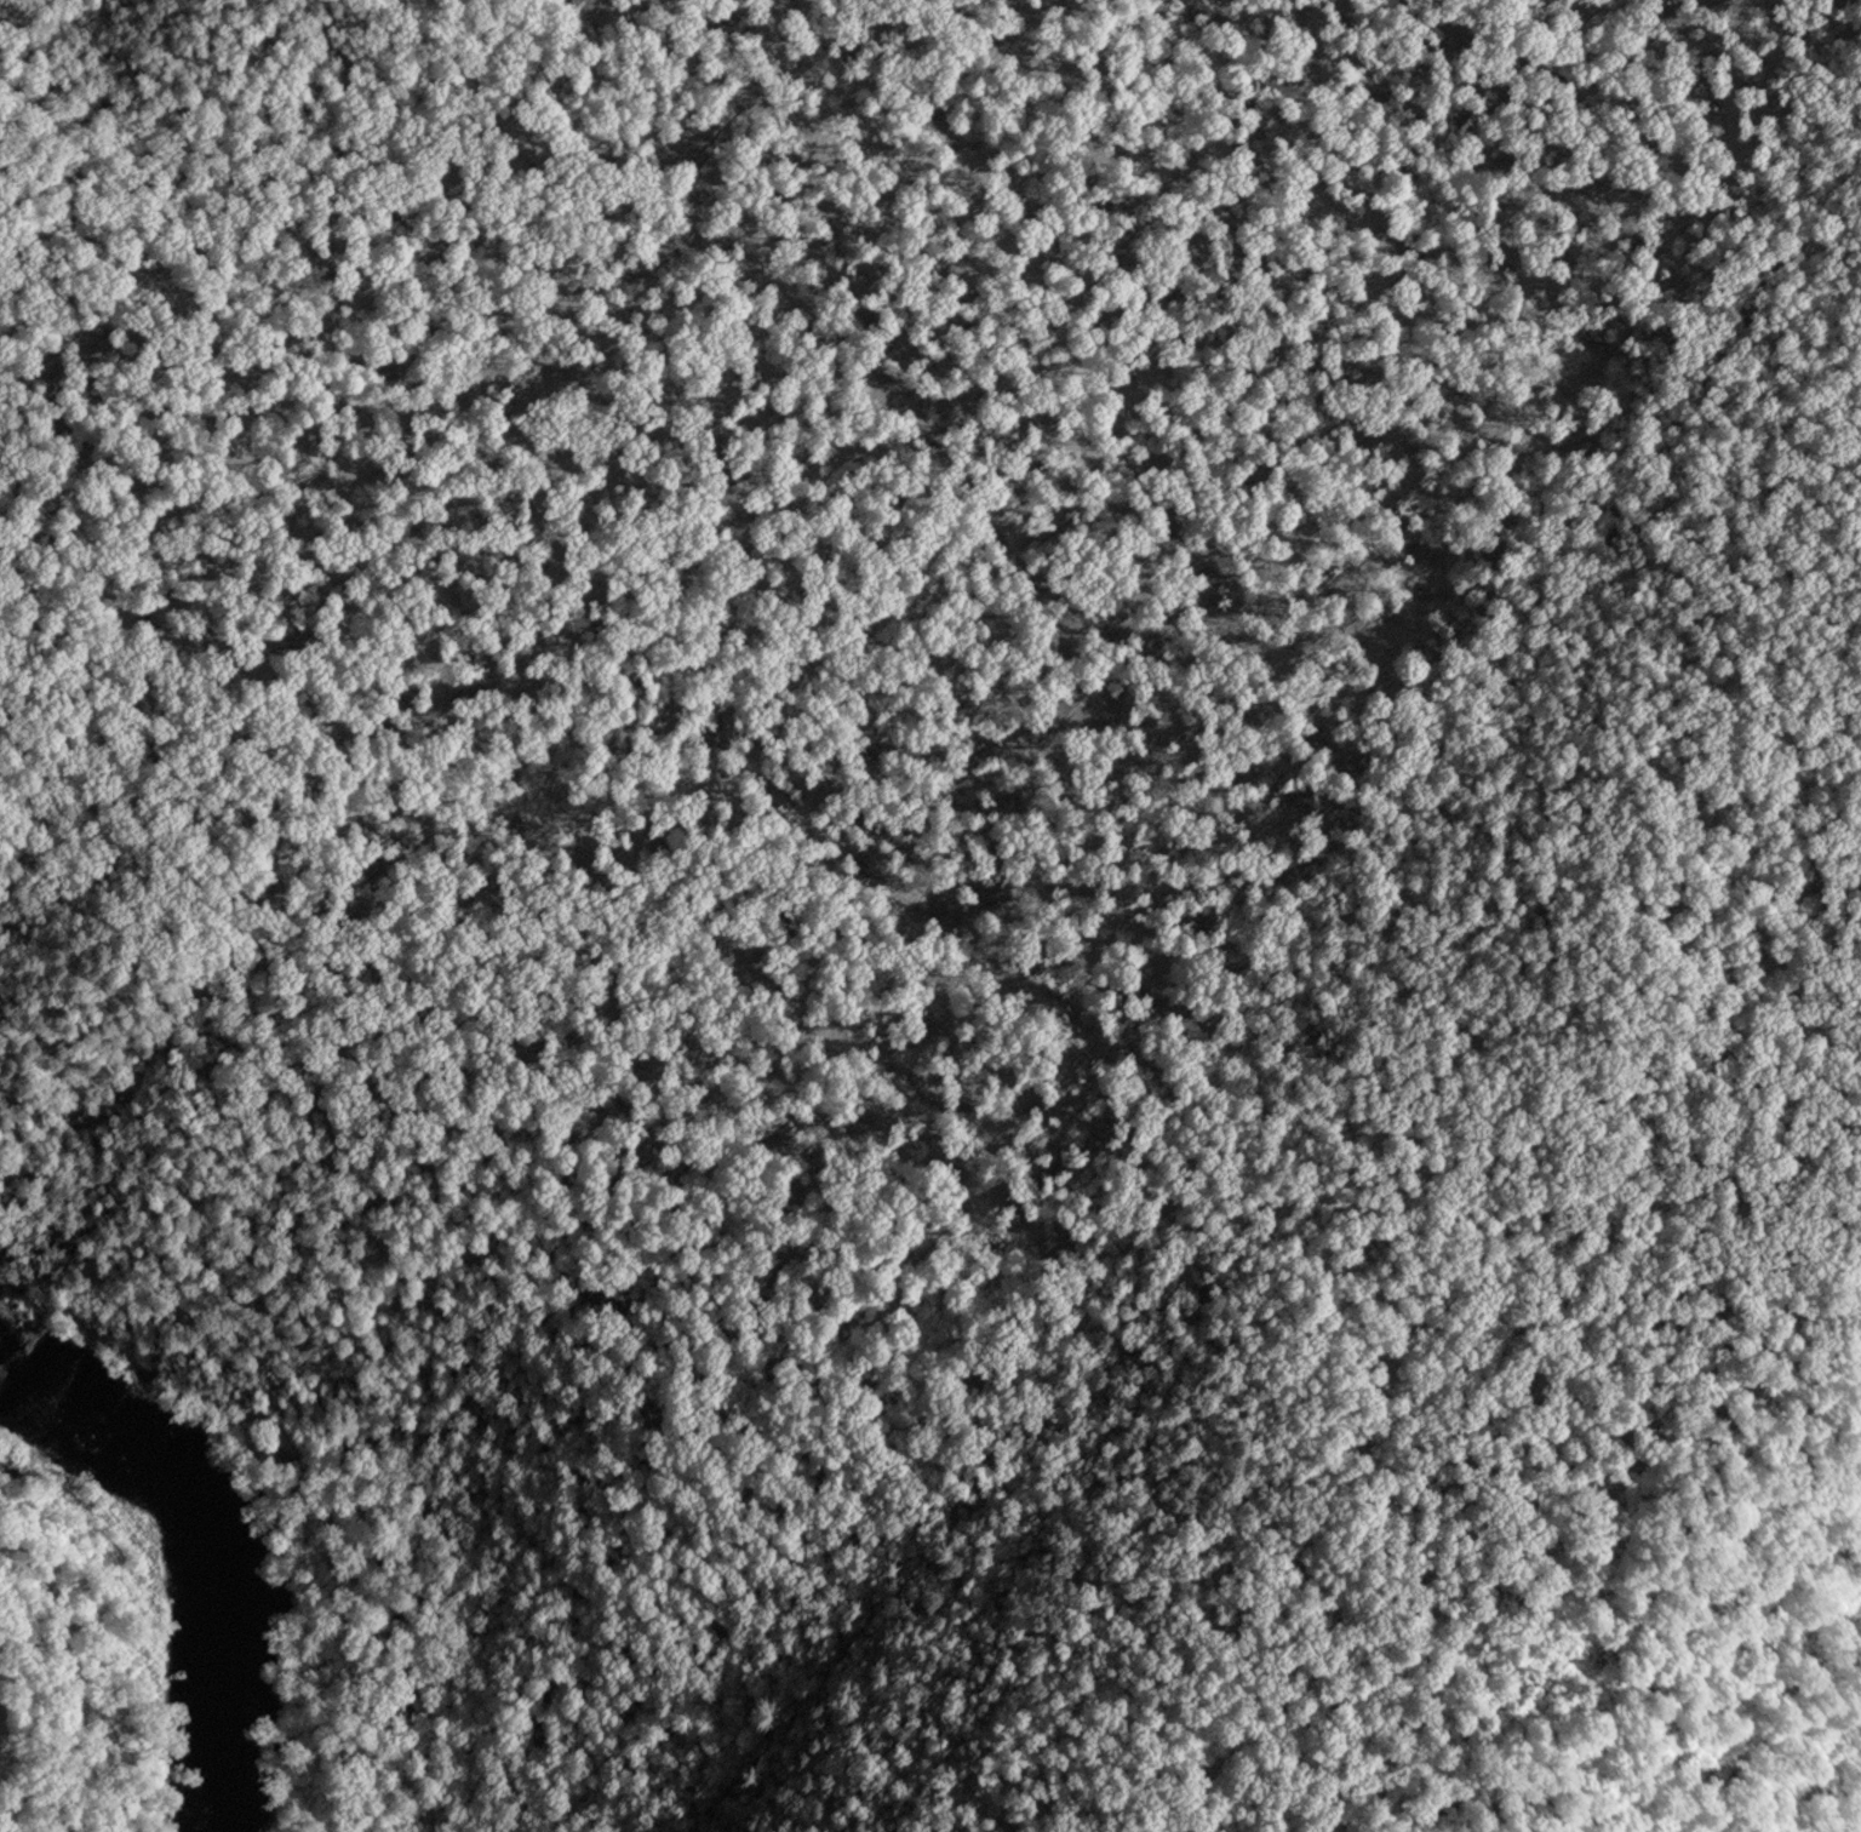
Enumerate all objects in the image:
road: (263, 1504)
river: (171, 1575)

